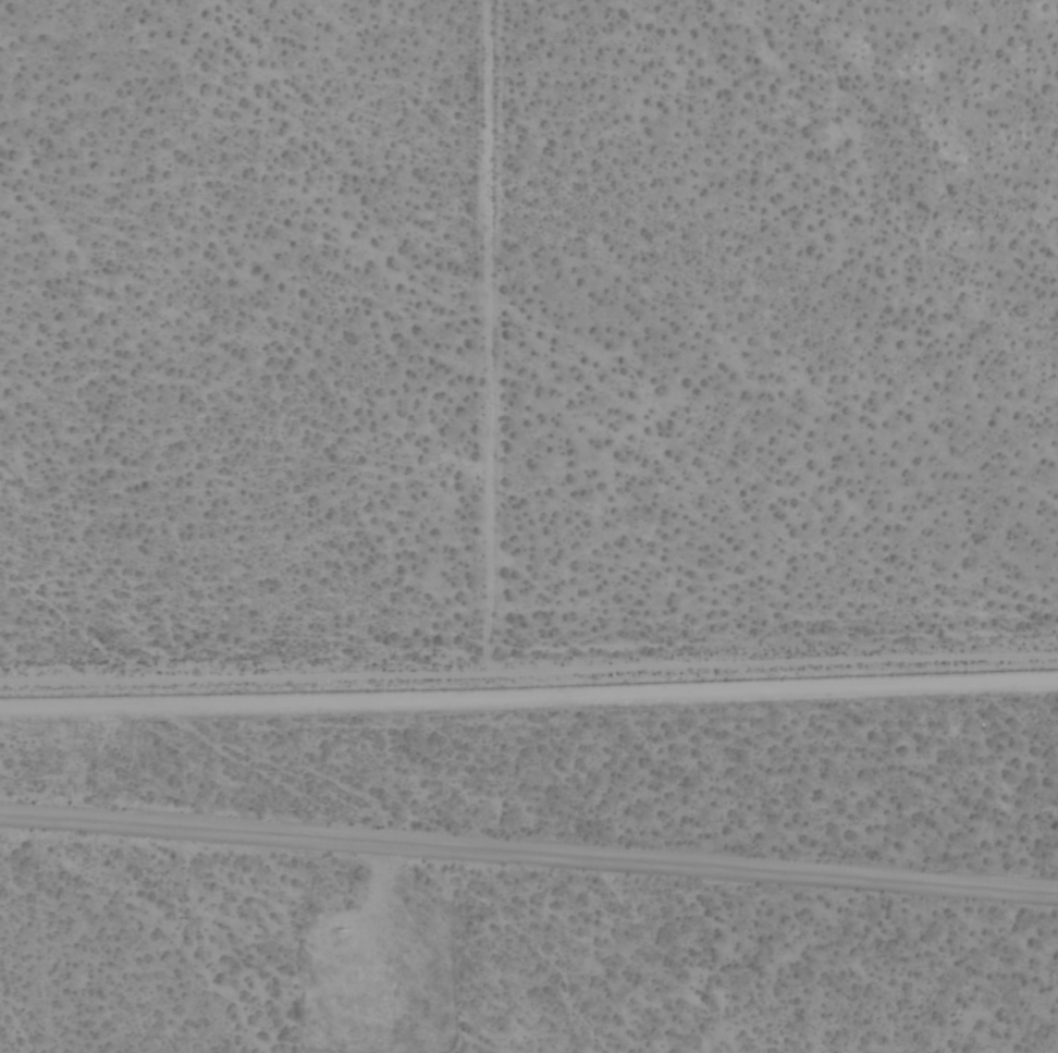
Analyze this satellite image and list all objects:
road: (488, 336)
road: (528, 673)
road: (529, 854)
airport: (534, 869)

